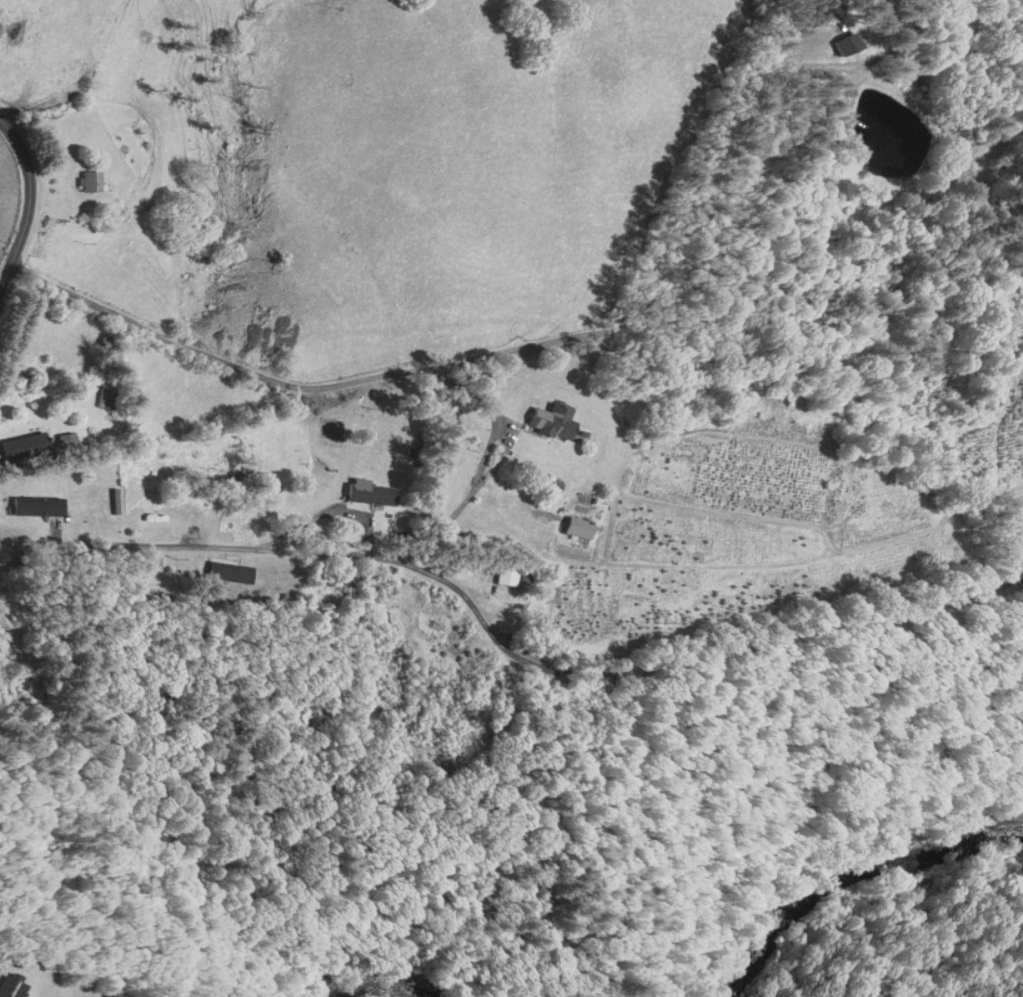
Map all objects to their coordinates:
building: (87, 182)
road: (29, 199)
road: (535, 352)
building: (550, 421)
building: (22, 444)
building: (369, 494)
building: (34, 506)
building: (154, 508)
building: (576, 527)
building: (226, 571)
building: (504, 575)
building: (327, 579)
road: (501, 651)
river: (844, 864)
river: (387, 975)
building: (9, 984)

